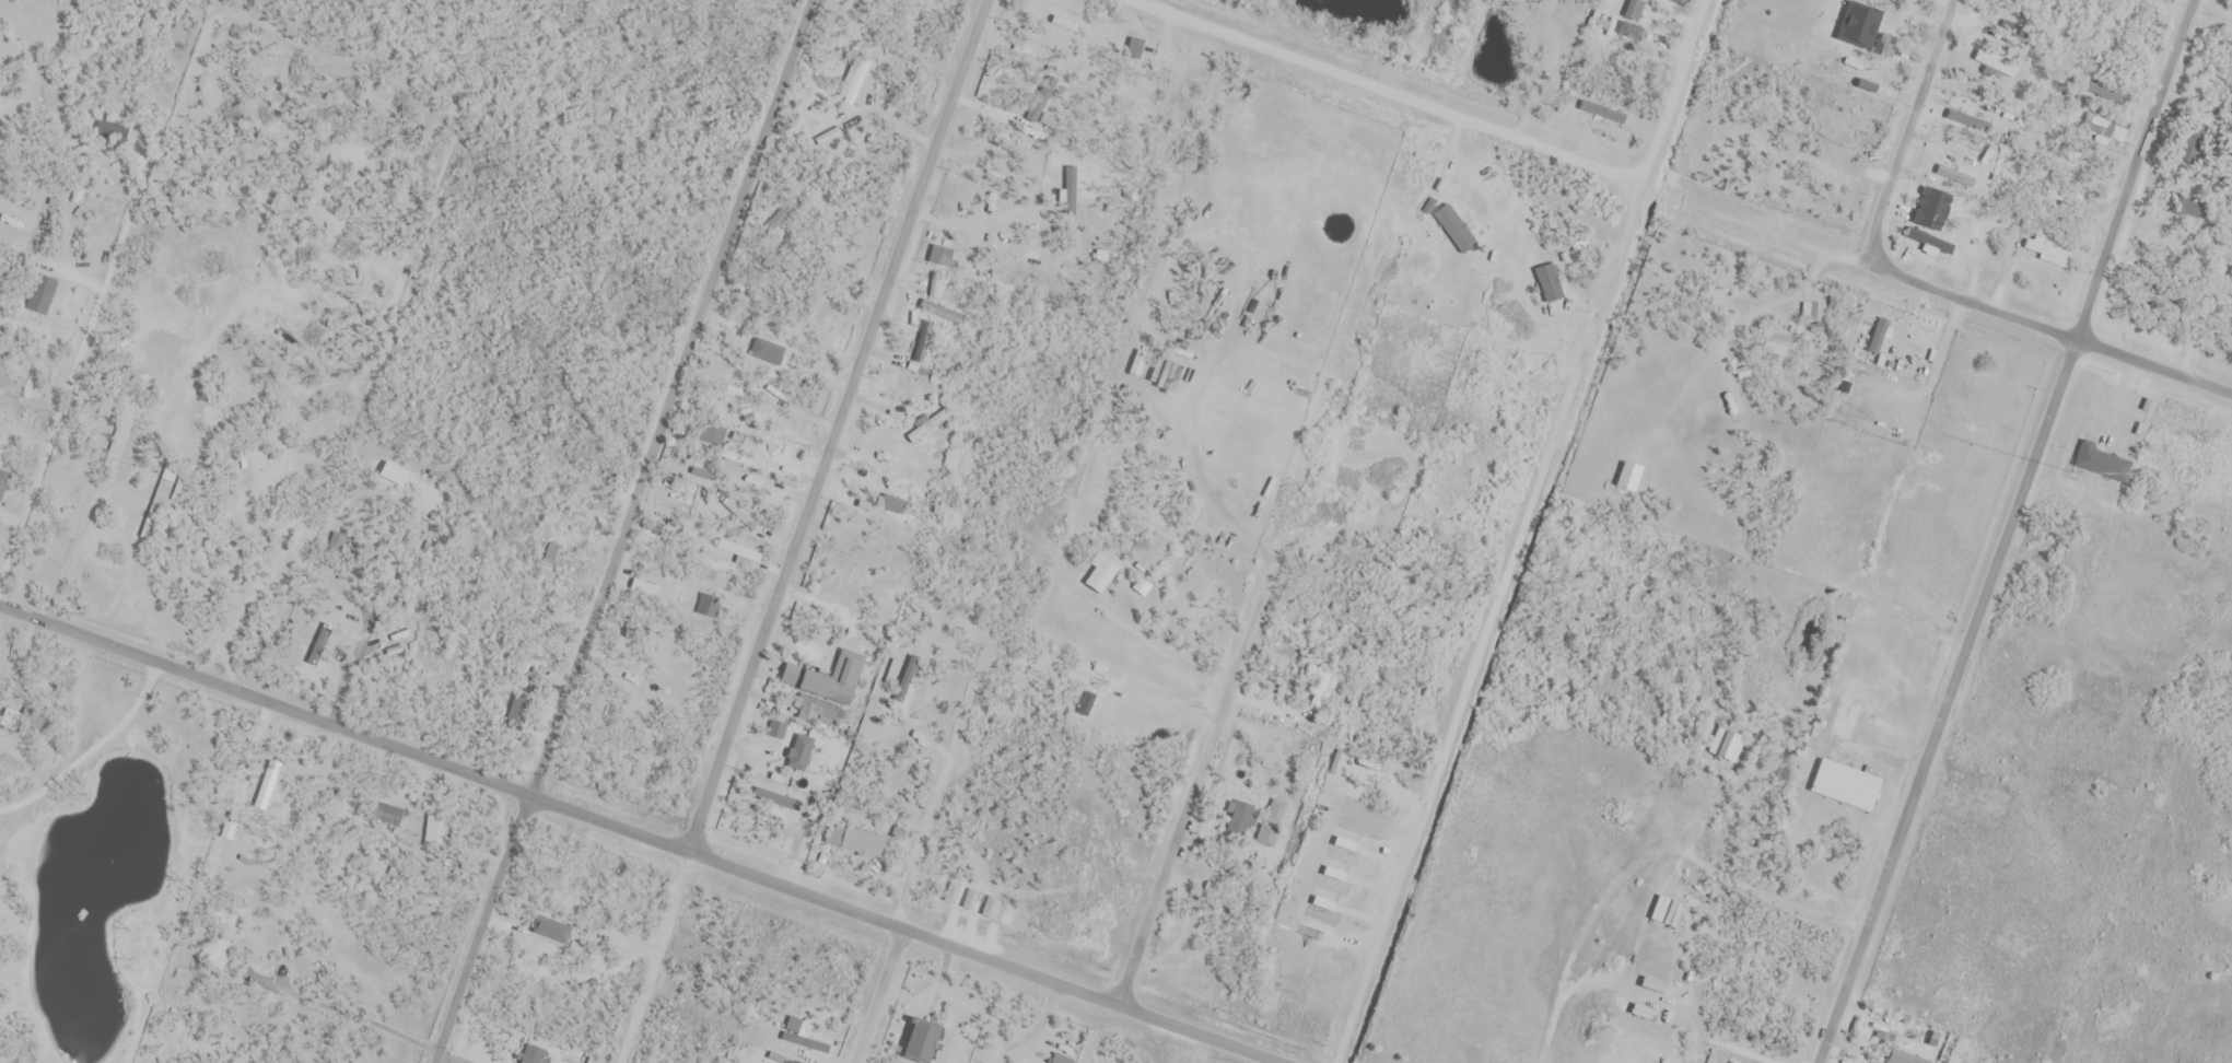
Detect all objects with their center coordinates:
building: (1886, 44)
building: (1050, 45)
building: (1136, 47)
building: (1996, 63)
building: (858, 82)
road: (1386, 91)
building: (1964, 116)
building: (2100, 121)
road: (1904, 131)
building: (2186, 139)
building: (2223, 140)
building: (1951, 175)
building: (2182, 201)
building: (1941, 213)
building: (1456, 229)
building: (1928, 241)
building: (2046, 252)
building: (1550, 283)
building: (942, 287)
building: (42, 295)
building: (1812, 312)
building: (943, 313)
building: (924, 330)
road: (2047, 332)
building: (1779, 344)
road: (58, 410)
building: (930, 427)
road: (839, 428)
building: (118, 442)
building: (2096, 460)
building: (738, 512)
building: (1, 527)
road: (622, 530)
road: (1521, 530)
road: (2008, 531)
building: (739, 551)
building: (557, 554)
building: (1152, 556)
building: (1101, 575)
building: (685, 680)
building: (826, 688)
building: (596, 699)
building: (817, 708)
building: (1721, 741)
building: (802, 752)
building: (1840, 784)
road: (1190, 786)
building: (776, 799)
building: (382, 813)
building: (1240, 819)
building: (436, 833)
road: (638, 836)
building: (1267, 836)
building: (852, 840)
building: (1670, 912)
building: (219, 951)
road: (876, 996)
building: (1897, 1056)

